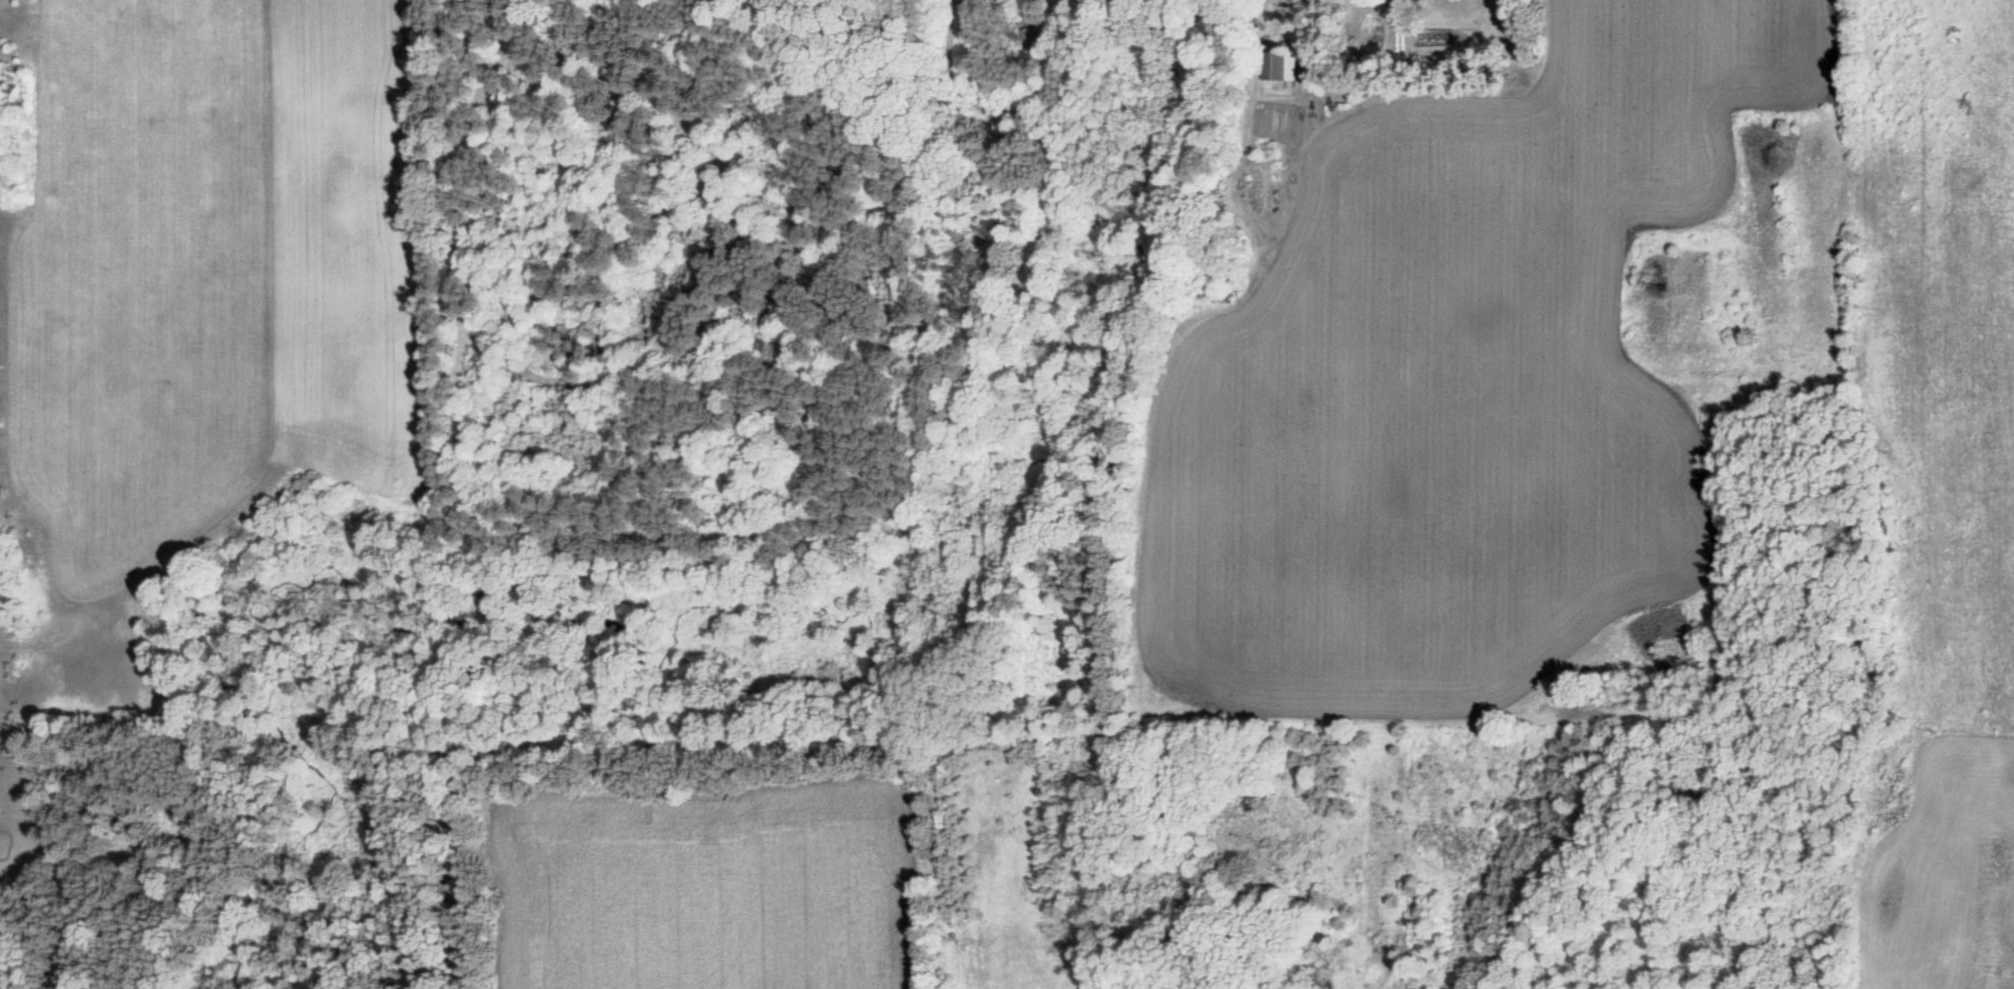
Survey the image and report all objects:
building: (1272, 66)

